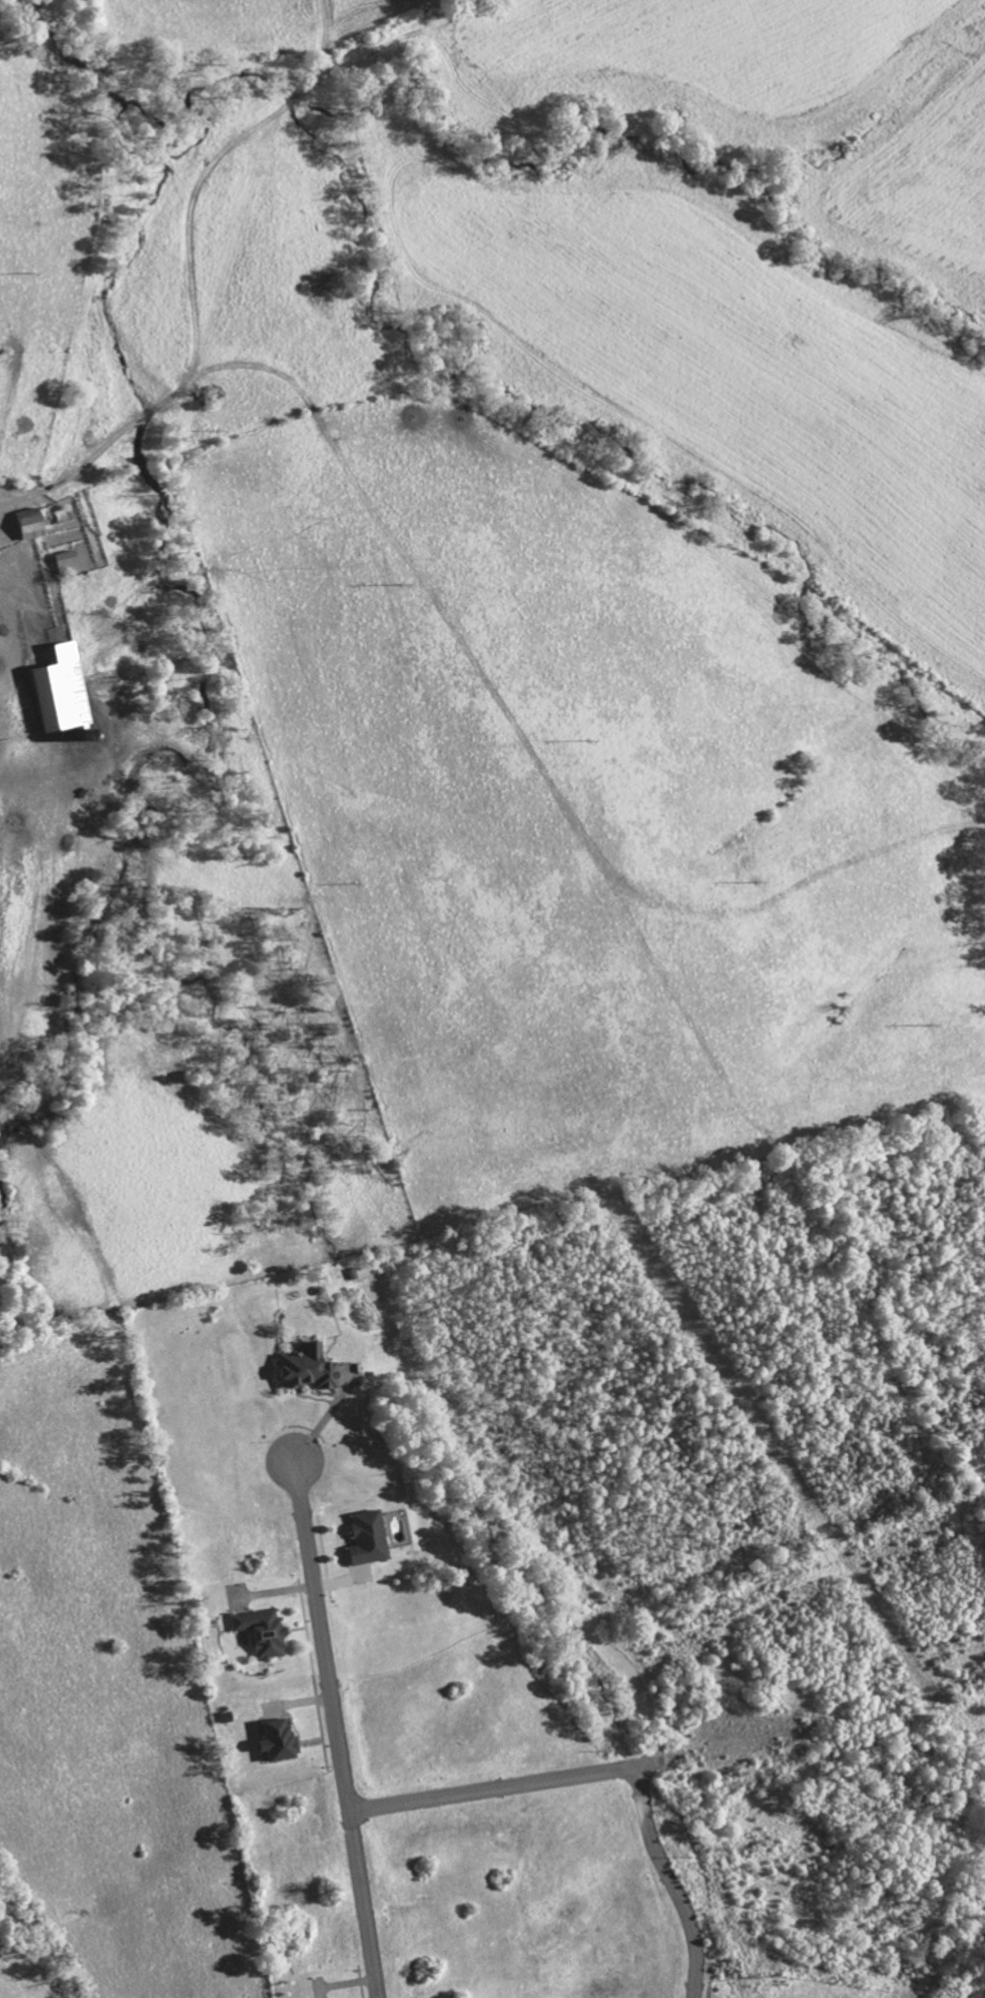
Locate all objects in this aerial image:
building: (52, 688)
building: (300, 1368)
building: (361, 1537)
building: (256, 1631)
road: (338, 1729)
building: (283, 1737)
road: (615, 1769)

